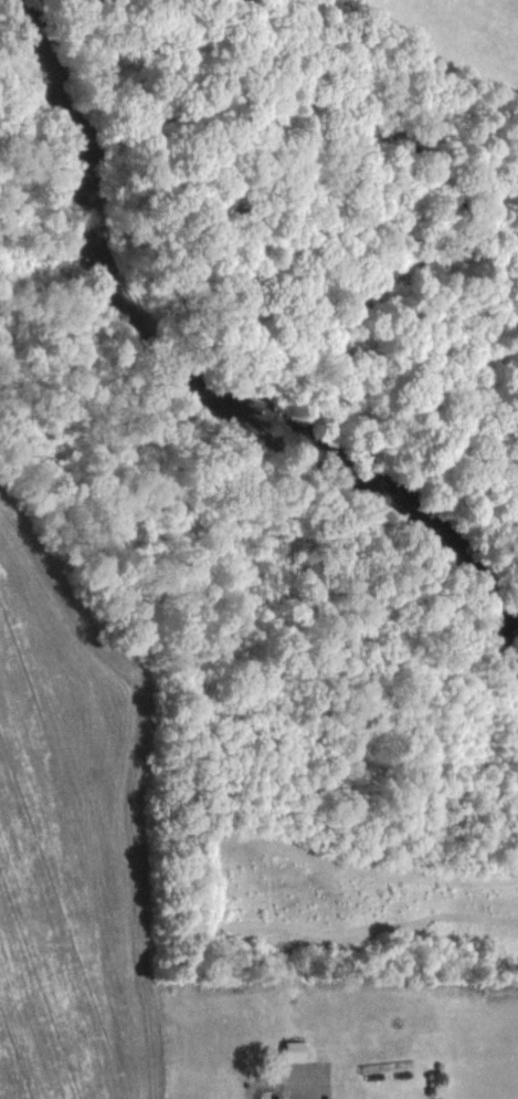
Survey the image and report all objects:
river: (199, 384)
building: (293, 1050)
road: (247, 1095)

